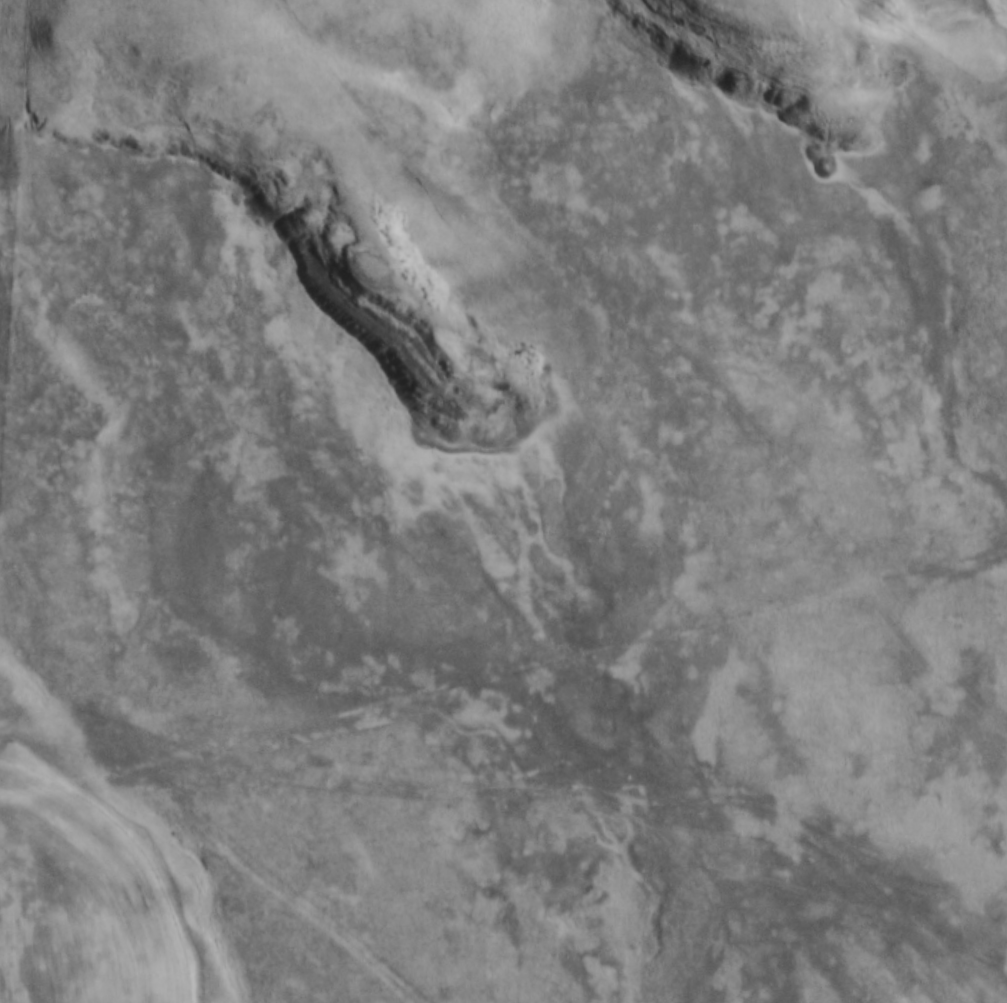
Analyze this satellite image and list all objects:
road: (806, 484)
road: (506, 790)
crop: (74, 909)

